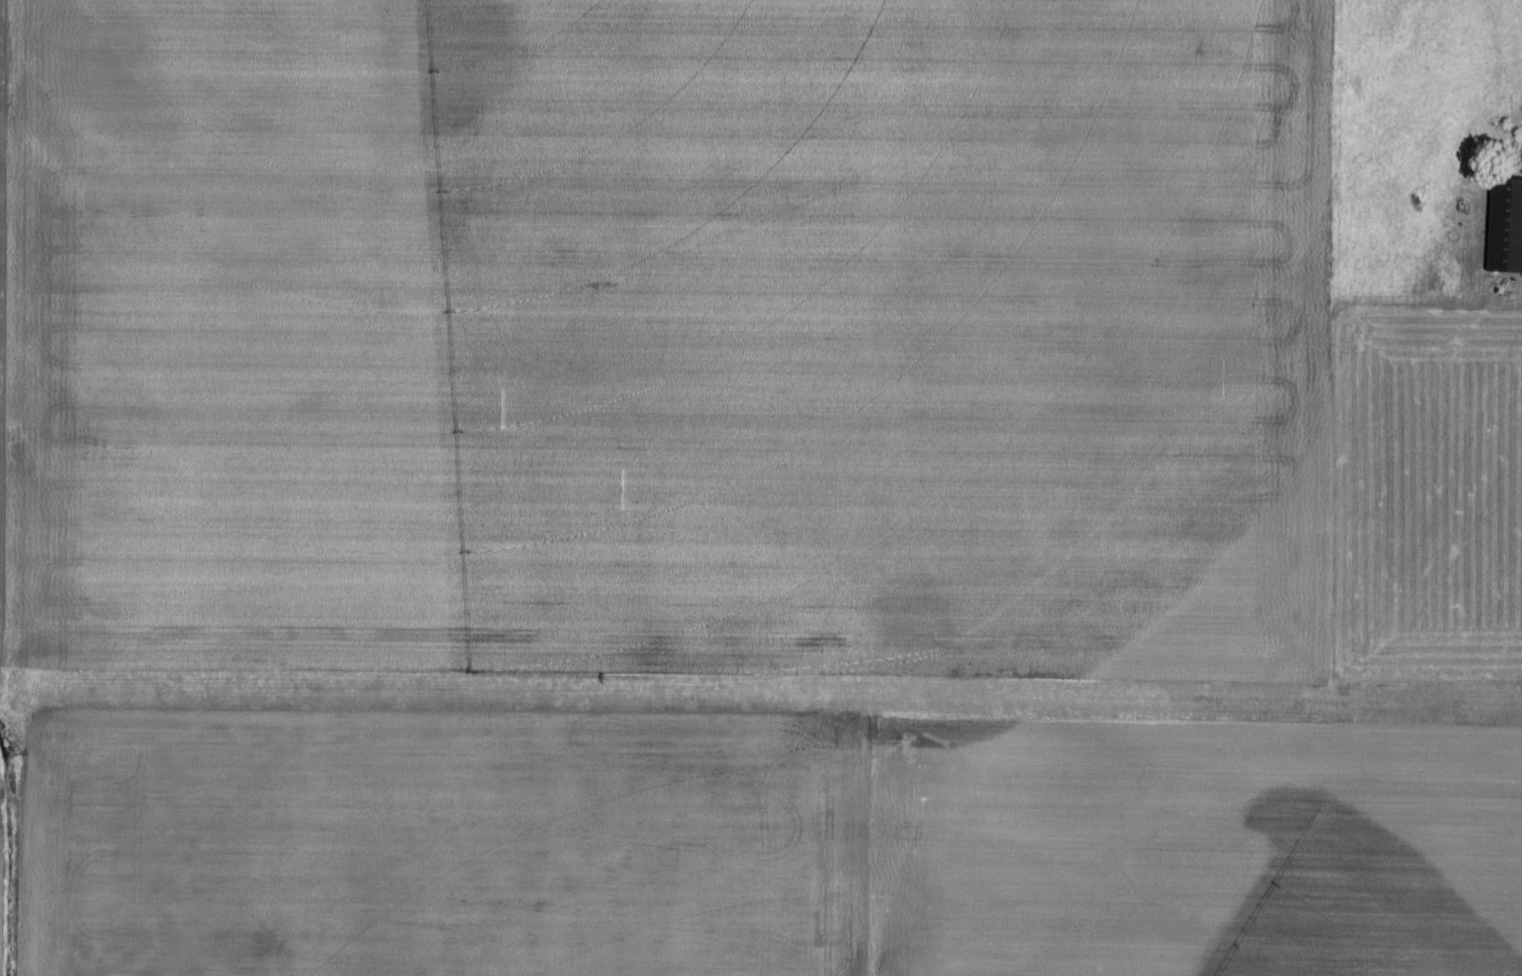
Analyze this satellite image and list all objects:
building: (1508, 228)

